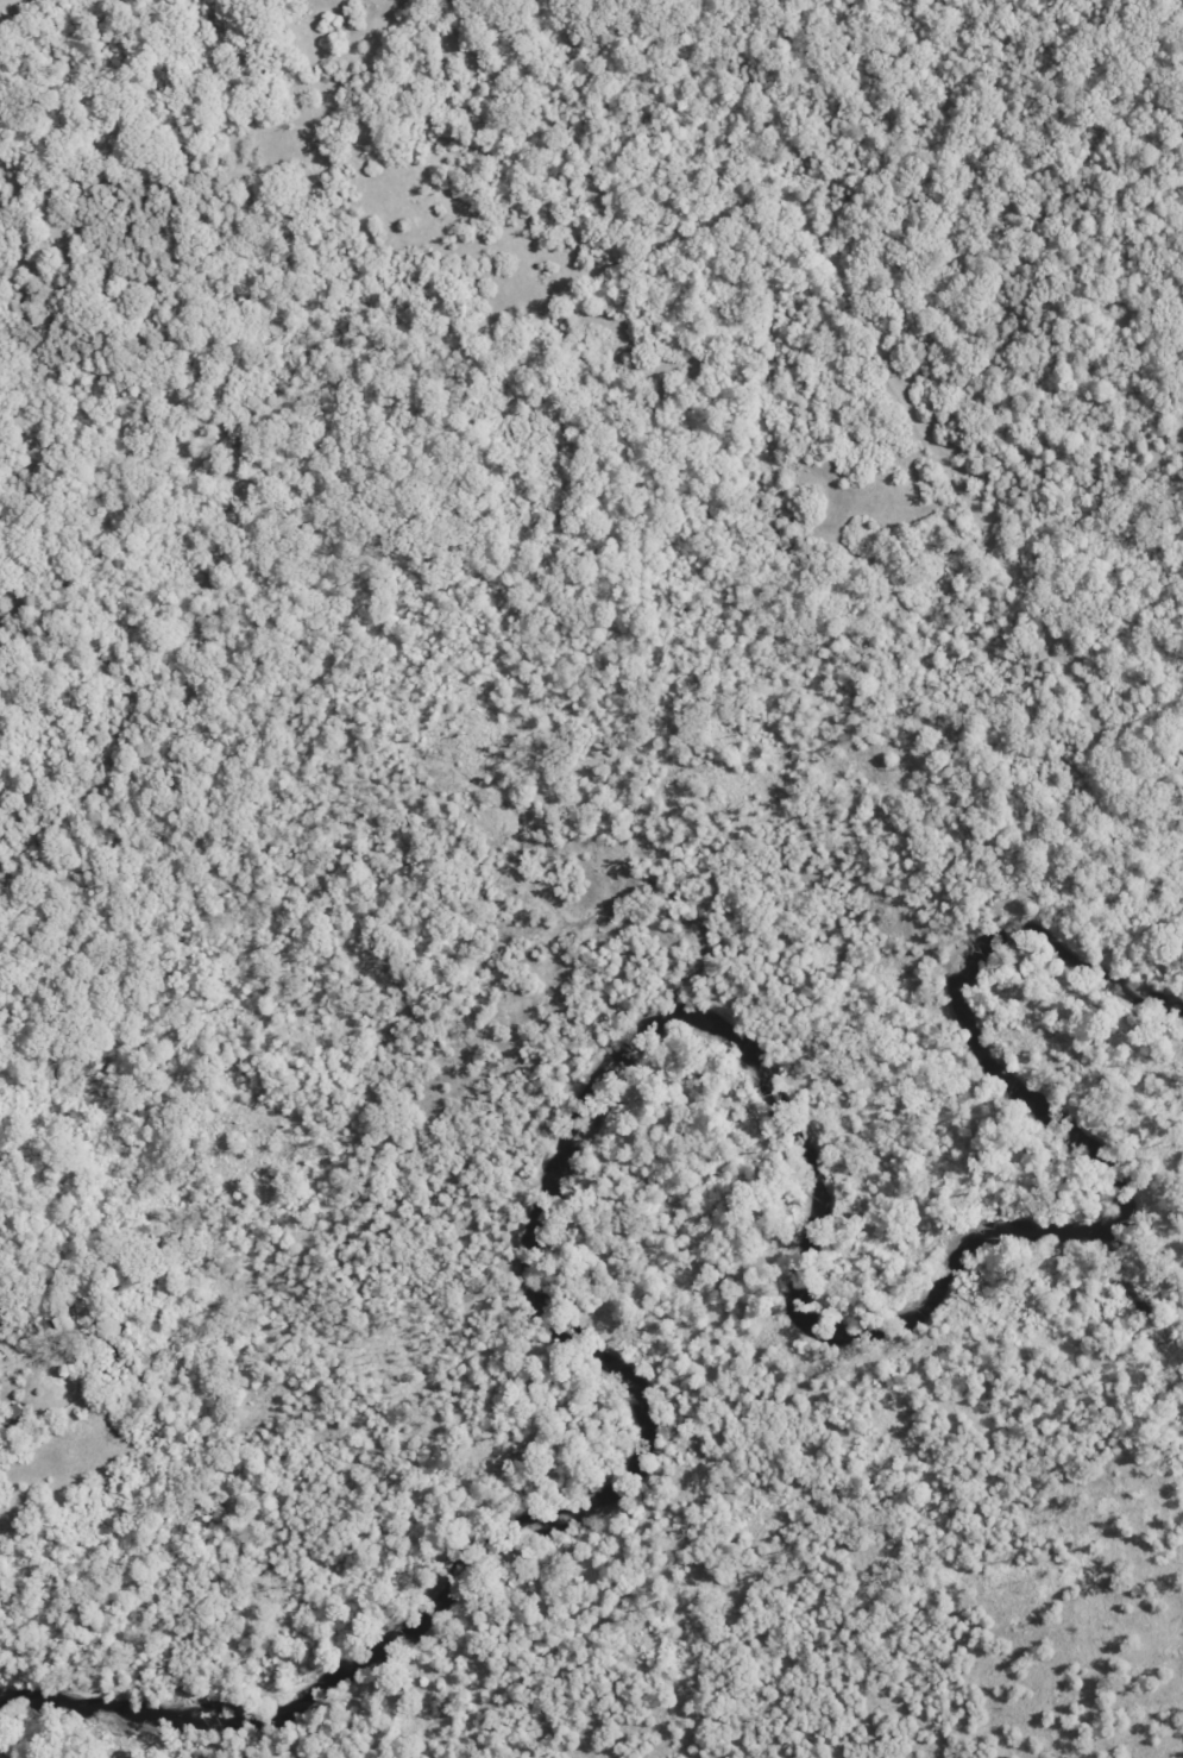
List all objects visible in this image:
road: (12, 1306)

